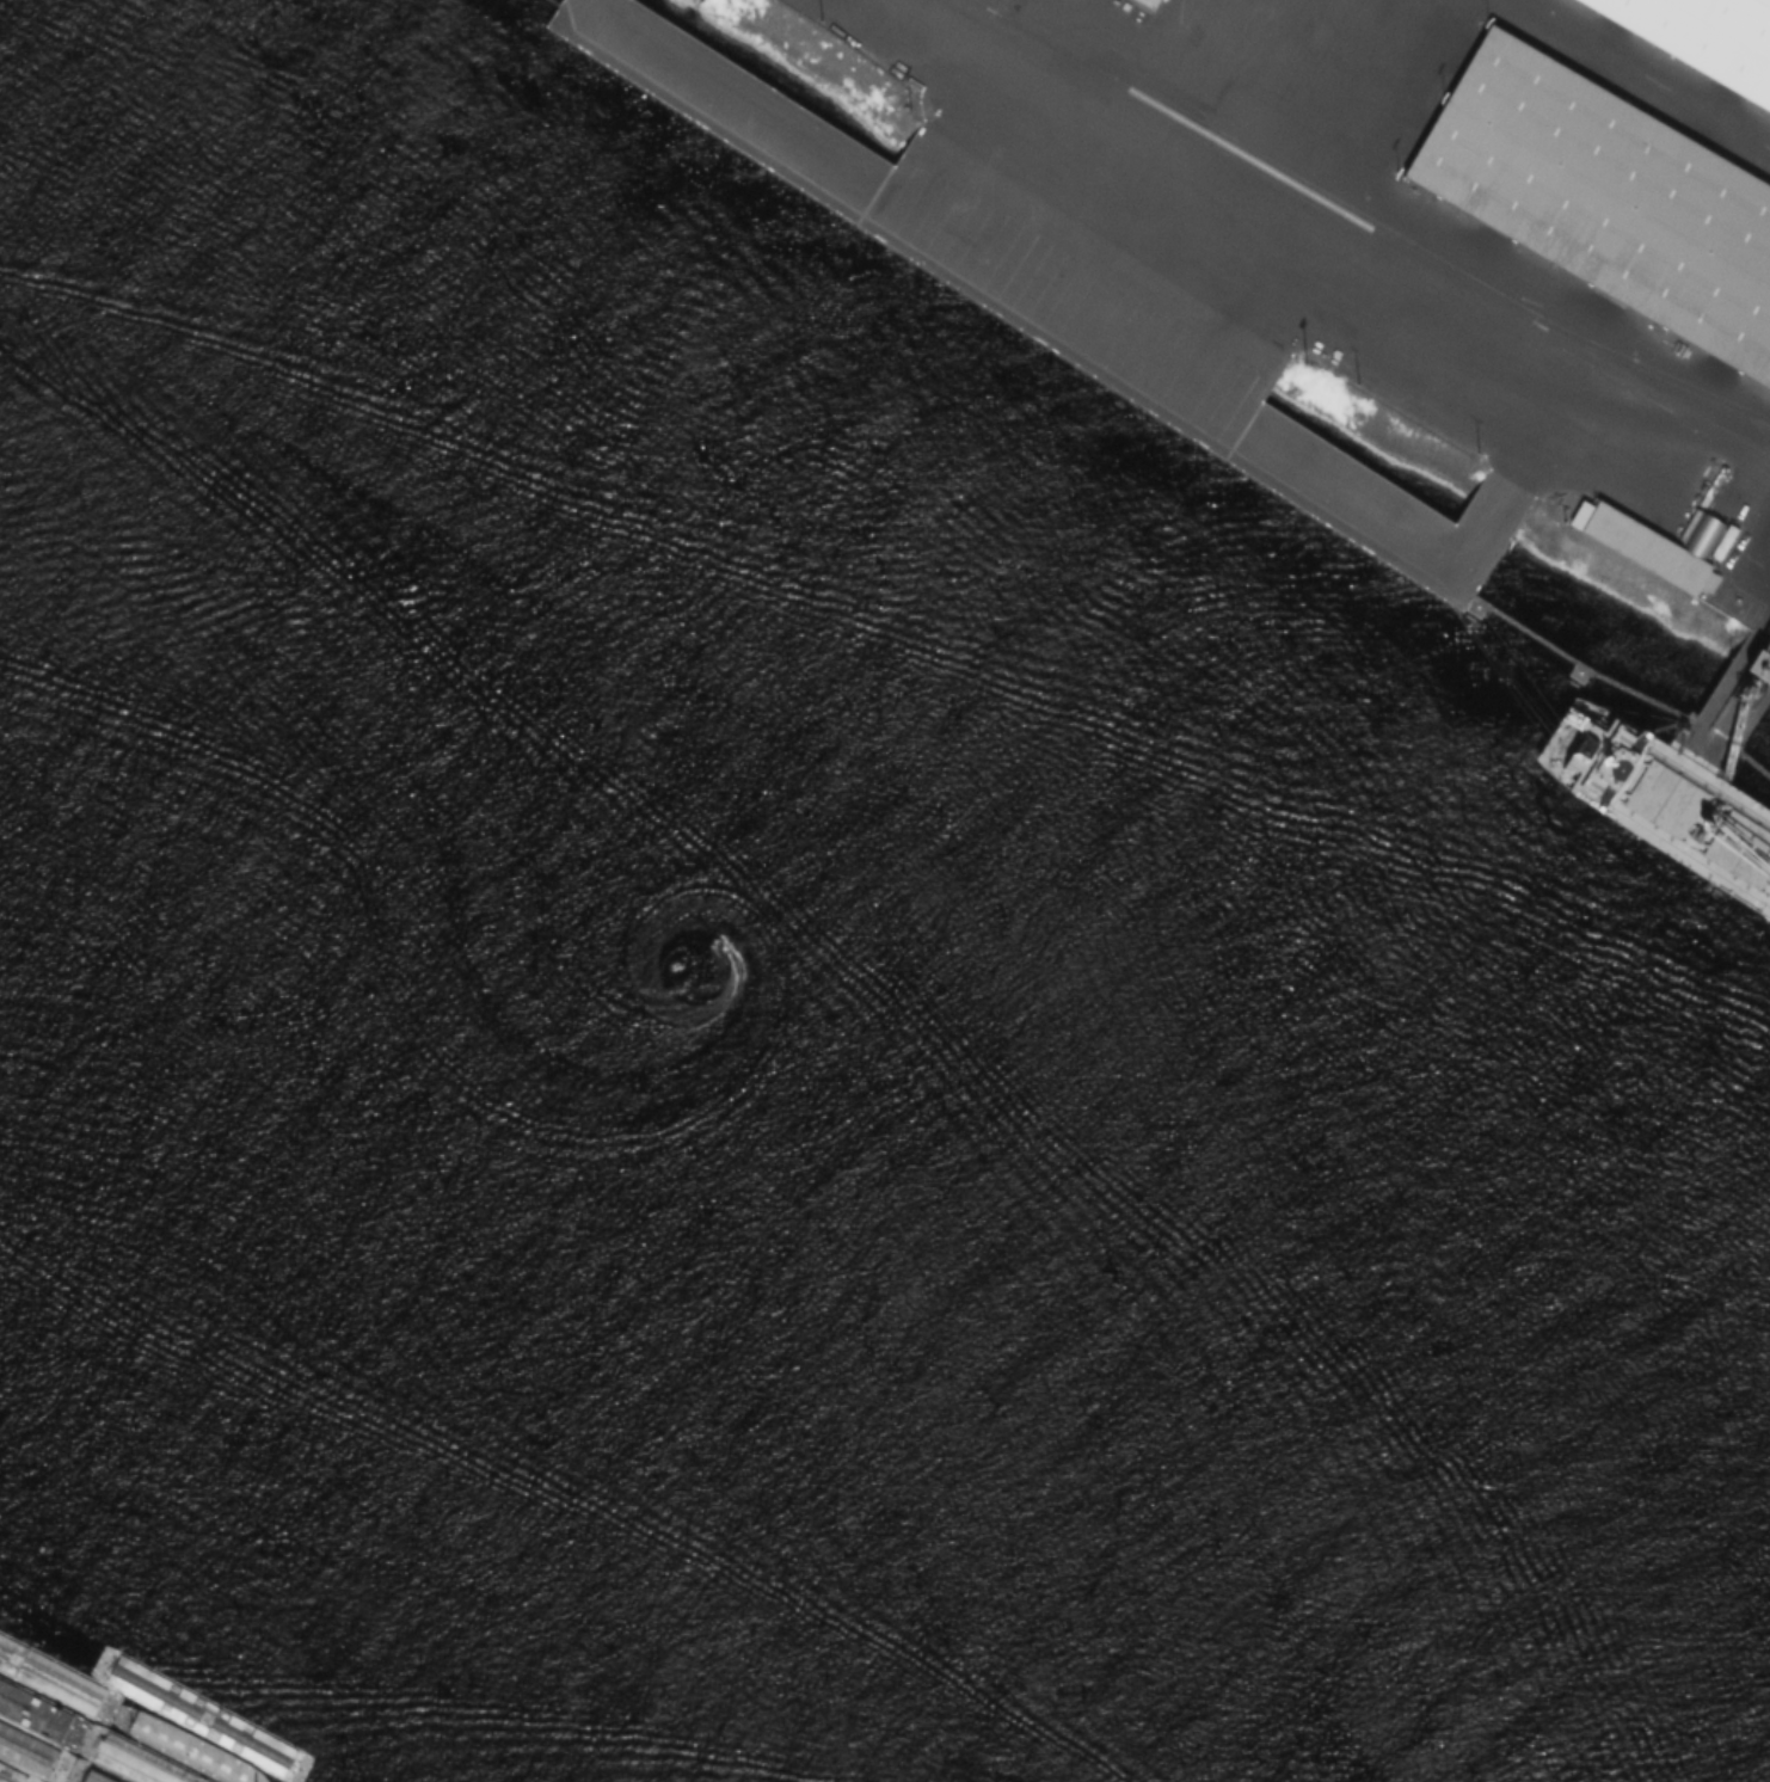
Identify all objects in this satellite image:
building: (1149, 2)
pier: (551, 4)
railway: (983, 6)
building: (1704, 37)
pier: (866, 173)
building: (1608, 197)
railway: (1372, 228)
building: (864, 289)
railway: (1653, 375)
pier: (1266, 422)
building: (1658, 542)
road: (1759, 563)
building: (1759, 664)
pier: (1573, 665)
pier: (1727, 712)
pier: (1754, 768)
river: (647, 1390)

